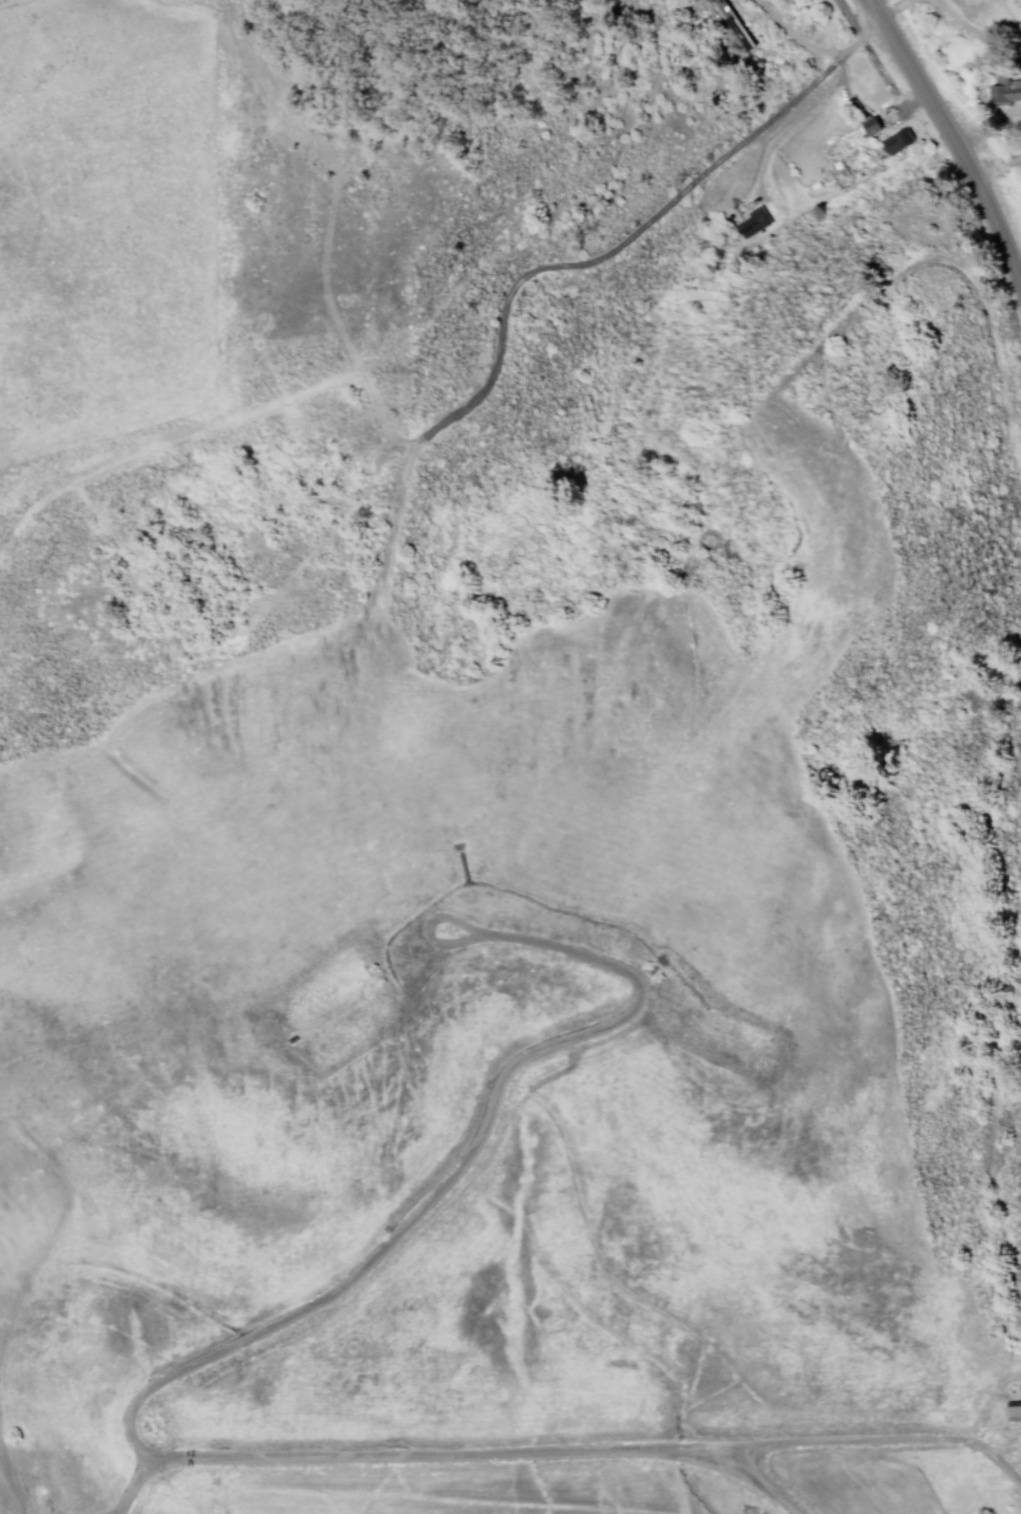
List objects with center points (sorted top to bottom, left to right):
building: (732, 24)
building: (1005, 90)
building: (870, 125)
building: (896, 141)
road: (950, 151)
building: (752, 220)
road: (436, 929)
road: (70, 1157)
road: (189, 1362)
road: (884, 1441)
road: (141, 1484)

